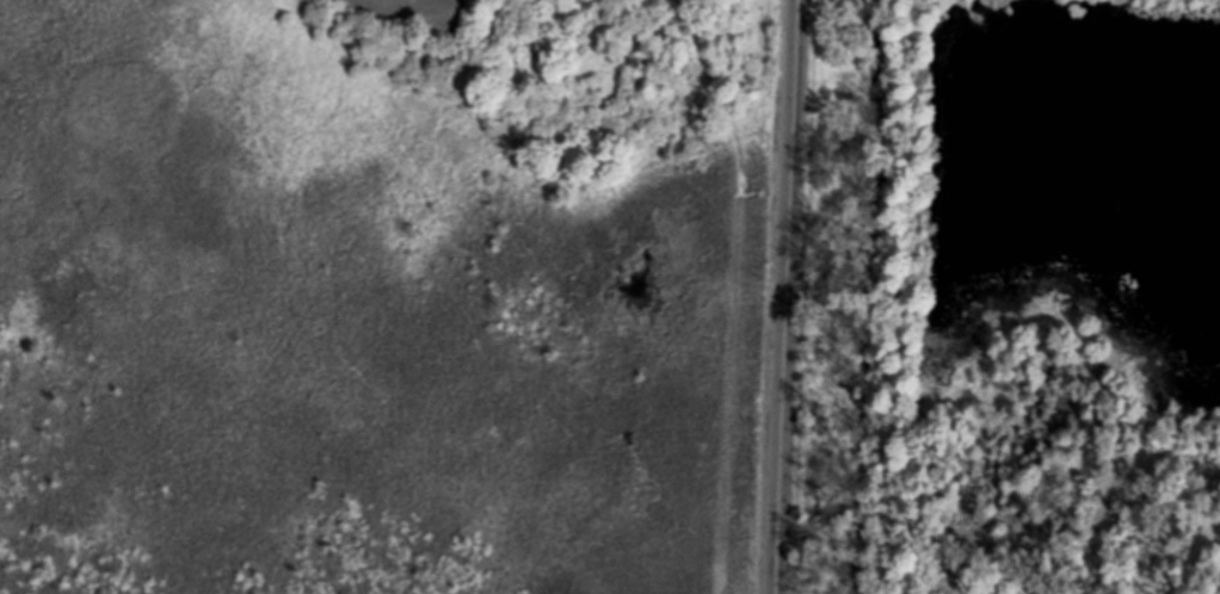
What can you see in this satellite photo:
river: (889, 296)
road: (787, 297)
quarry: (1000, 524)

